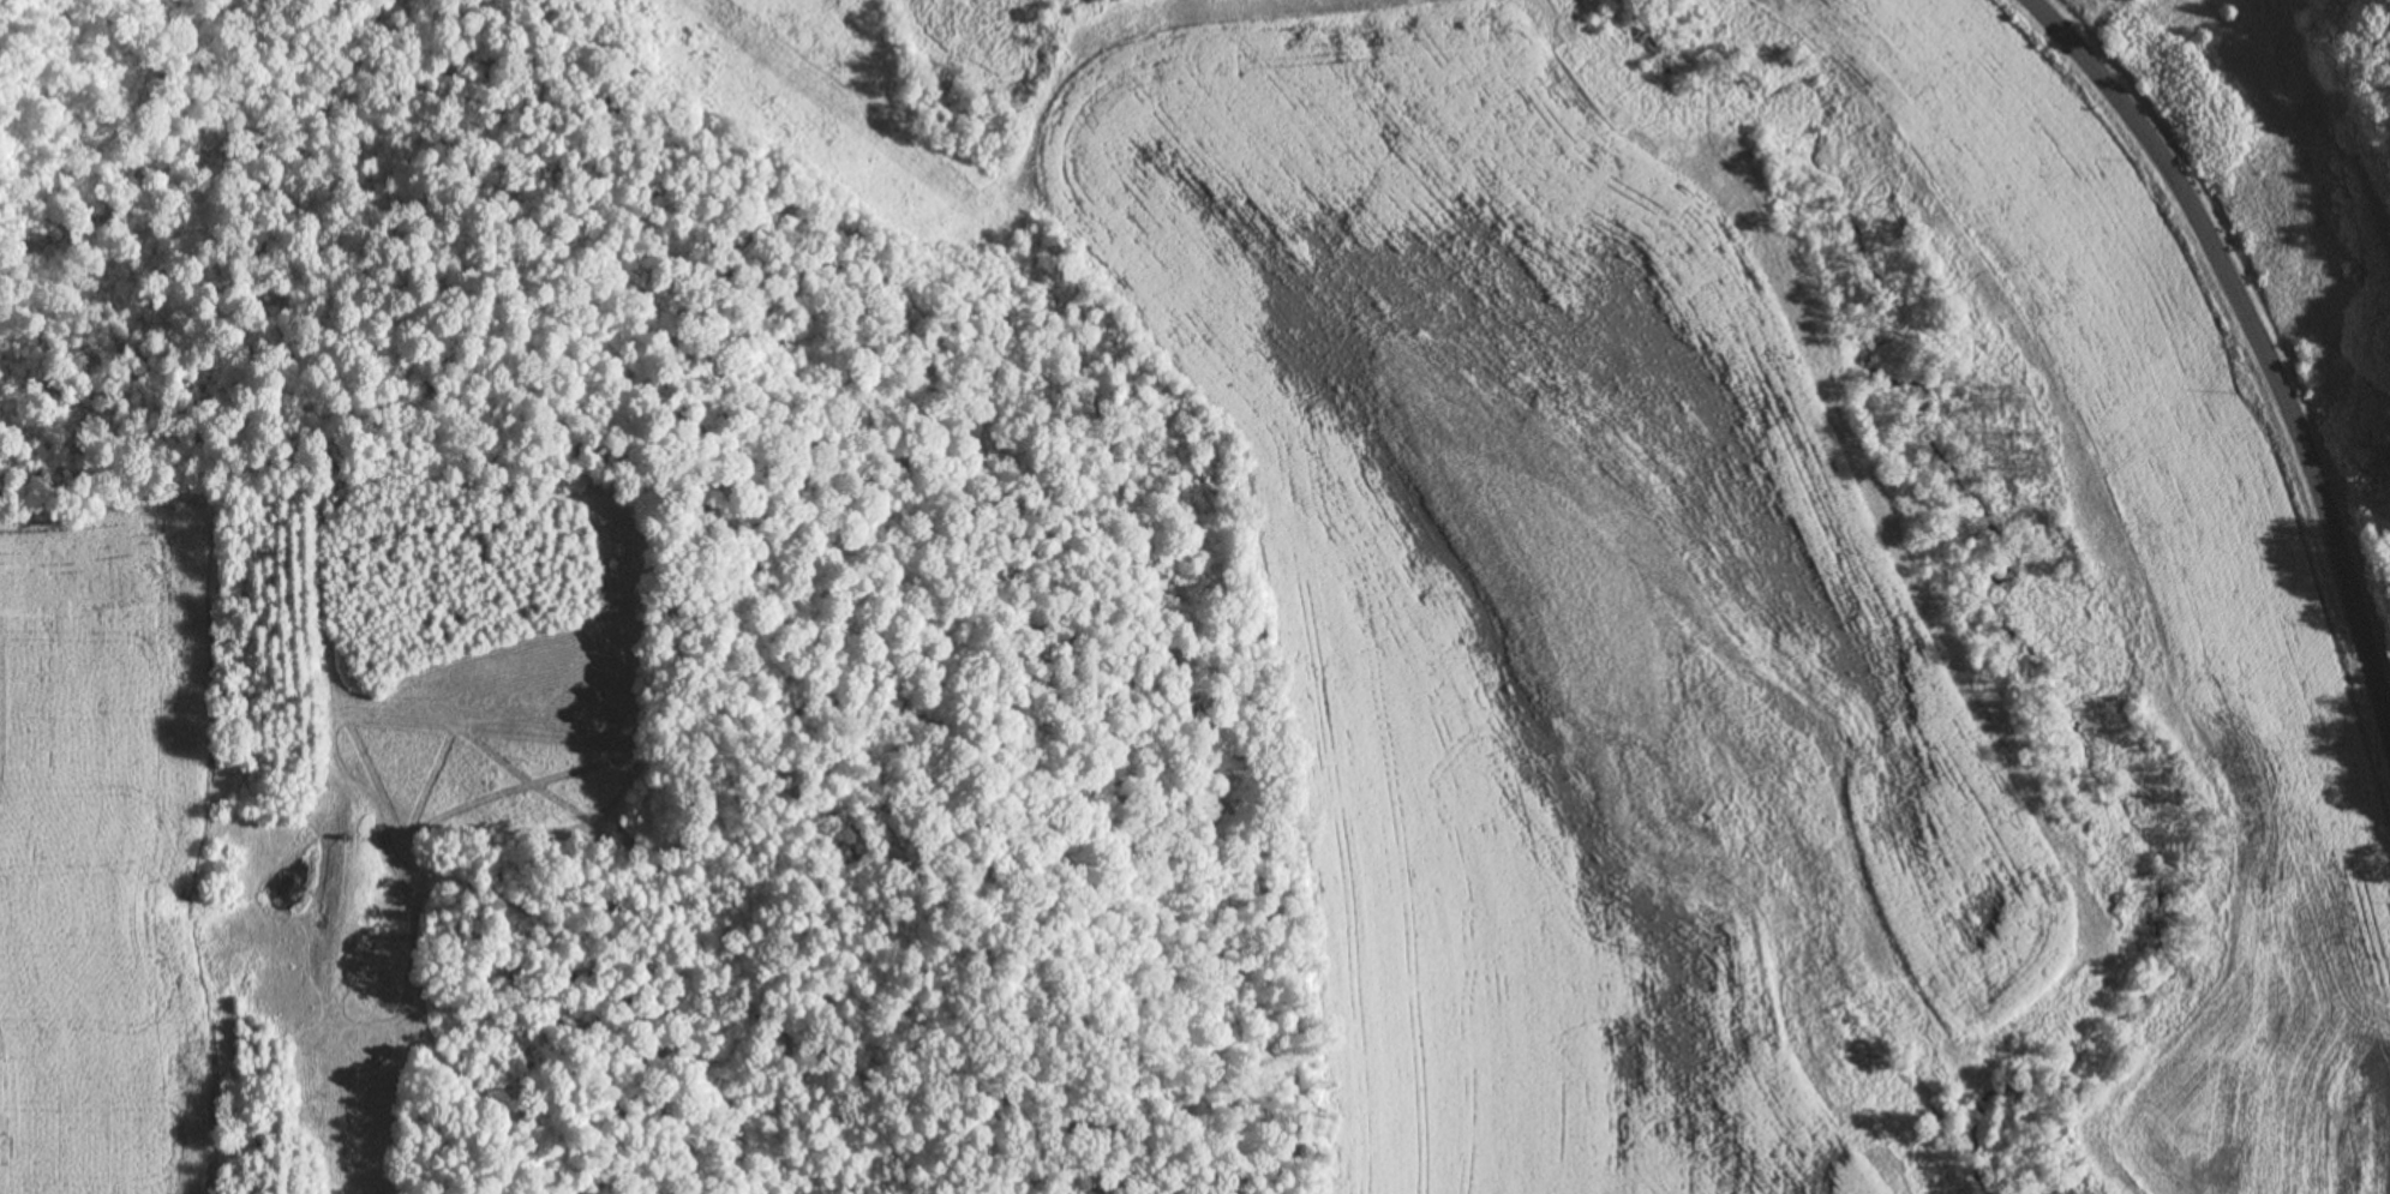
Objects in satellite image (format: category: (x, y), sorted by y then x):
road: (2257, 340)

